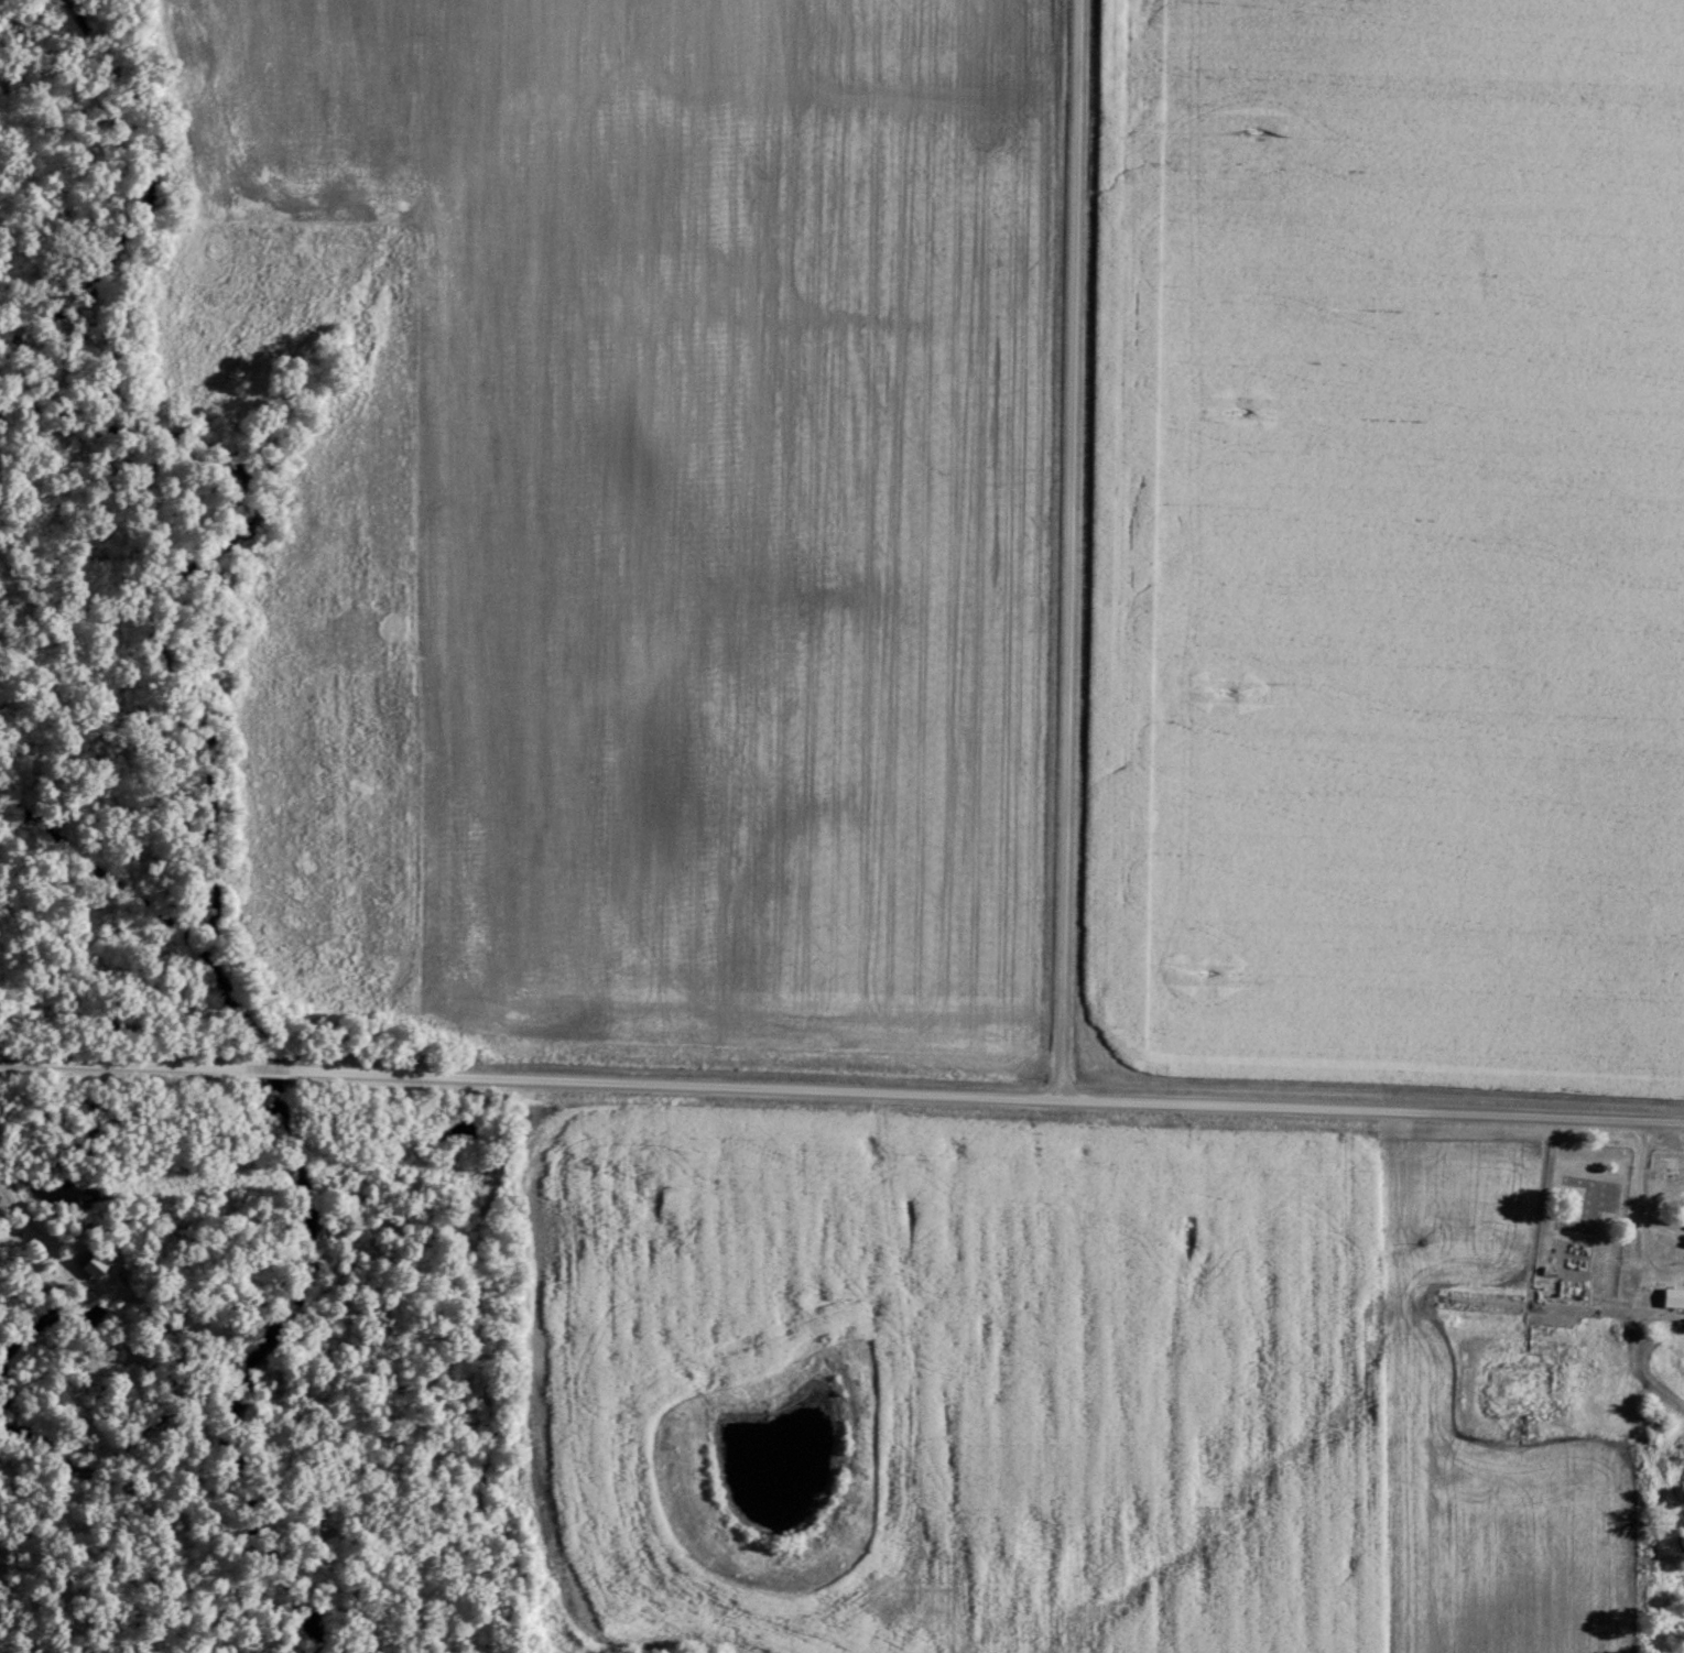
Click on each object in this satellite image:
road: (1068, 548)
road: (841, 1090)
road: (1641, 1171)
road: (1643, 1242)
building: (89, 1264)
building: (1673, 1297)

